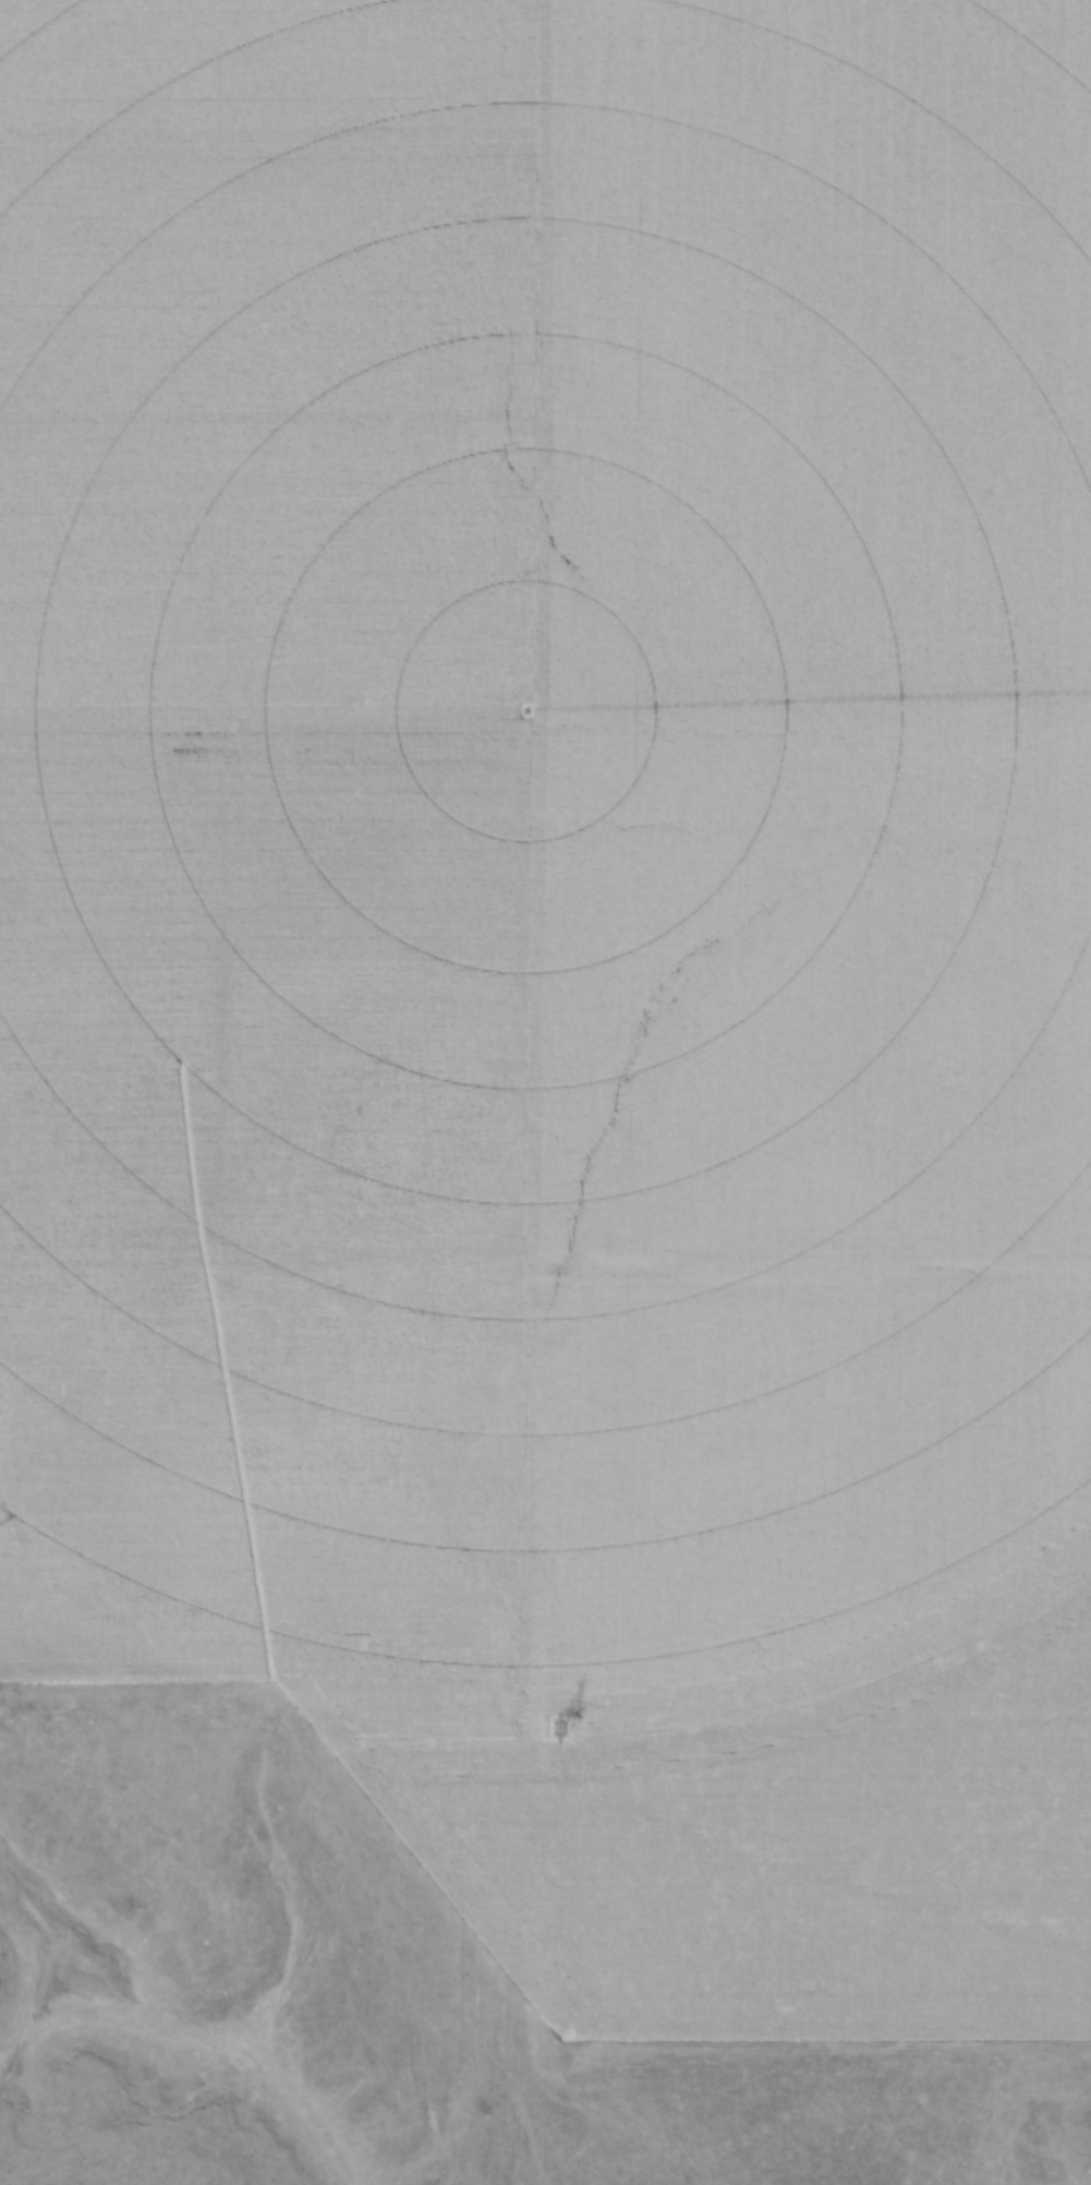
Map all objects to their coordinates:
building: (171, 1184)
building: (119, 1199)
building: (134, 1252)
road: (581, 1265)
building: (232, 1314)
power tower: (557, 1729)

